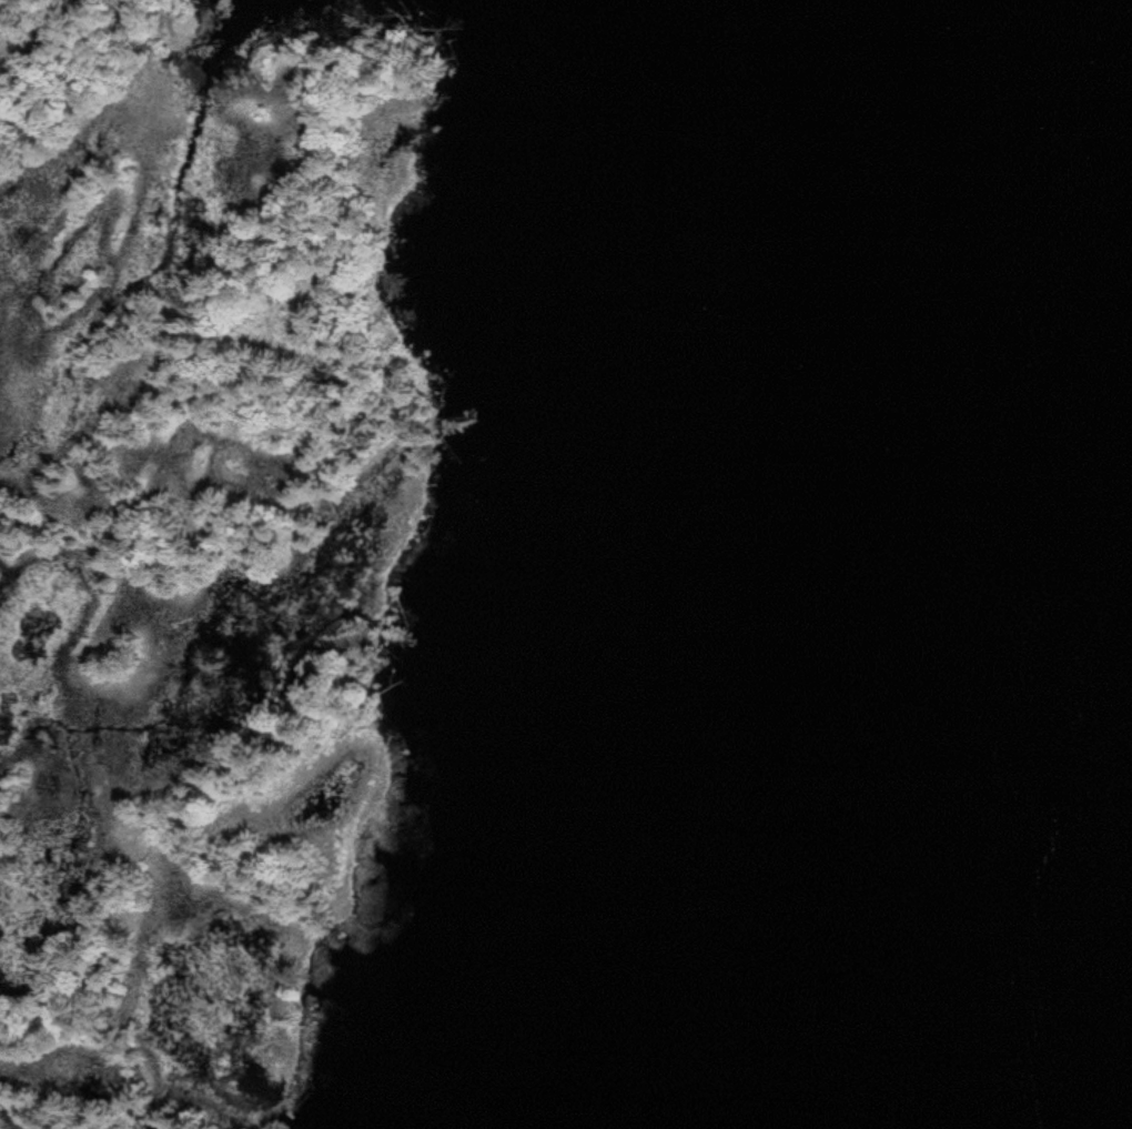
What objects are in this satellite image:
park: (199, 543)

